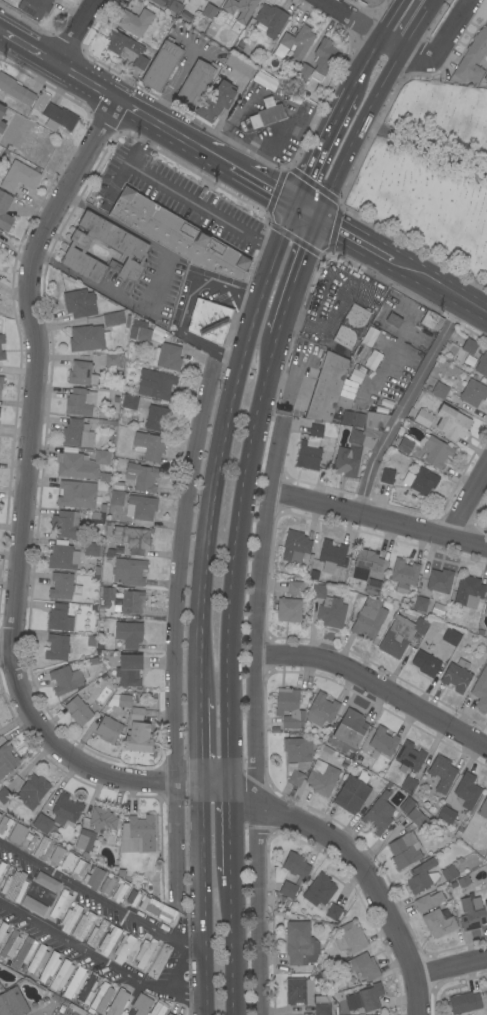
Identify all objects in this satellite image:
building: (203, 0)
building: (158, 2)
building: (174, 7)
building: (36, 8)
building: (240, 9)
building: (208, 10)
road: (353, 17)
road: (392, 17)
building: (269, 20)
building: (135, 22)
road: (80, 31)
road: (12, 36)
building: (294, 44)
building: (123, 46)
road: (42, 53)
road: (436, 53)
building: (322, 59)
building: (471, 59)
building: (140, 62)
road: (363, 63)
building: (161, 65)
building: (240, 65)
building: (301, 75)
building: (485, 78)
road: (88, 79)
building: (194, 85)
building: (15, 90)
building: (216, 102)
road: (369, 103)
road: (138, 108)
building: (2, 110)
building: (267, 114)
building: (58, 118)
building: (2, 126)
road: (197, 143)
road: (318, 144)
park: (431, 175)
building: (19, 176)
road: (263, 181)
road: (179, 197)
traffic signals: (294, 199)
building: (4, 205)
road: (305, 205)
traffic signals: (316, 212)
road: (282, 225)
building: (177, 235)
road: (354, 235)
building: (130, 249)
road: (294, 273)
road: (440, 285)
building: (79, 303)
road: (181, 304)
building: (112, 319)
building: (209, 320)
building: (393, 321)
building: (431, 321)
building: (351, 326)
building: (143, 334)
building: (369, 336)
building: (1, 338)
building: (87, 338)
building: (469, 346)
building: (362, 352)
building: (1, 356)
building: (169, 357)
building: (111, 360)
building: (482, 364)
building: (81, 374)
building: (486, 377)
building: (1, 382)
building: (156, 385)
building: (328, 387)
building: (439, 390)
building: (473, 393)
building: (129, 402)
building: (77, 403)
road: (404, 404)
building: (156, 418)
building: (423, 418)
building: (375, 421)
building: (452, 423)
building: (316, 431)
building: (75, 433)
building: (371, 434)
building: (404, 445)
building: (149, 446)
building: (436, 452)
building: (308, 455)
building: (348, 456)
building: (101, 457)
building: (74, 466)
road: (216, 471)
building: (386, 476)
building: (142, 477)
building: (420, 481)
building: (117, 484)
road: (26, 494)
building: (76, 494)
building: (116, 498)
road: (467, 503)
building: (140, 508)
building: (97, 518)
road: (377, 519)
building: (66, 525)
building: (133, 539)
building: (295, 547)
building: (92, 550)
building: (62, 556)
building: (331, 556)
road: (233, 560)
building: (366, 564)
building: (128, 572)
building: (313, 574)
building: (404, 575)
building: (439, 581)
building: (61, 586)
building: (373, 587)
building: (295, 588)
building: (468, 592)
building: (124, 600)
building: (420, 604)
building: (485, 607)
building: (328, 608)
building: (288, 610)
building: (437, 610)
building: (59, 618)
building: (368, 619)
road: (172, 629)
building: (128, 634)
building: (400, 635)
building: (451, 636)
road: (3, 646)
building: (56, 647)
building: (425, 662)
building: (129, 670)
building: (456, 676)
building: (67, 679)
road: (374, 686)
building: (481, 690)
building: (123, 701)
building: (289, 708)
building: (321, 710)
building: (78, 711)
road: (253, 715)
building: (350, 728)
building: (108, 729)
building: (137, 733)
road: (199, 742)
building: (382, 742)
building: (297, 750)
building: (409, 757)
building: (7, 759)
building: (441, 773)
building: (293, 775)
building: (322, 780)
building: (408, 784)
building: (32, 791)
building: (466, 791)
building: (351, 795)
building: (4, 796)
building: (66, 809)
building: (483, 809)
building: (378, 814)
building: (0, 815)
building: (446, 815)
building: (416, 818)
building: (102, 820)
building: (42, 824)
building: (4, 826)
road: (229, 831)
building: (467, 831)
building: (17, 834)
building: (138, 834)
building: (29, 840)
building: (85, 840)
building: (42, 849)
building: (404, 850)
building: (56, 855)
road: (352, 858)
building: (68, 863)
building: (295, 865)
building: (2, 867)
building: (82, 869)
building: (449, 873)
building: (420, 877)
building: (93, 878)
building: (46, 881)
building: (463, 881)
building: (13, 885)
building: (106, 886)
building: (288, 890)
building: (319, 890)
building: (119, 893)
road: (100, 899)
building: (131, 899)
road: (202, 900)
building: (143, 901)
building: (428, 901)
building: (60, 904)
building: (33, 905)
building: (160, 910)
building: (333, 912)
building: (471, 913)
building: (69, 918)
building: (438, 924)
building: (82, 926)
building: (2, 932)
building: (96, 934)
building: (349, 939)
building: (108, 940)
building: (10, 944)
road: (231, 944)
building: (300, 944)
building: (123, 948)
building: (24, 952)
building: (144, 953)
building: (37, 958)
road: (98, 960)
road: (449, 963)
building: (363, 966)
building: (49, 967)
building: (61, 976)
building: (74, 983)
building: (87, 990)
building: (298, 991)
building: (101, 997)
building: (370, 997)
building: (12, 1003)
building: (118, 1003)
building: (464, 1003)
building: (140, 1005)
building: (323, 1005)
building: (158, 1008)
building: (166, 1014)
building: (169, 1014)

